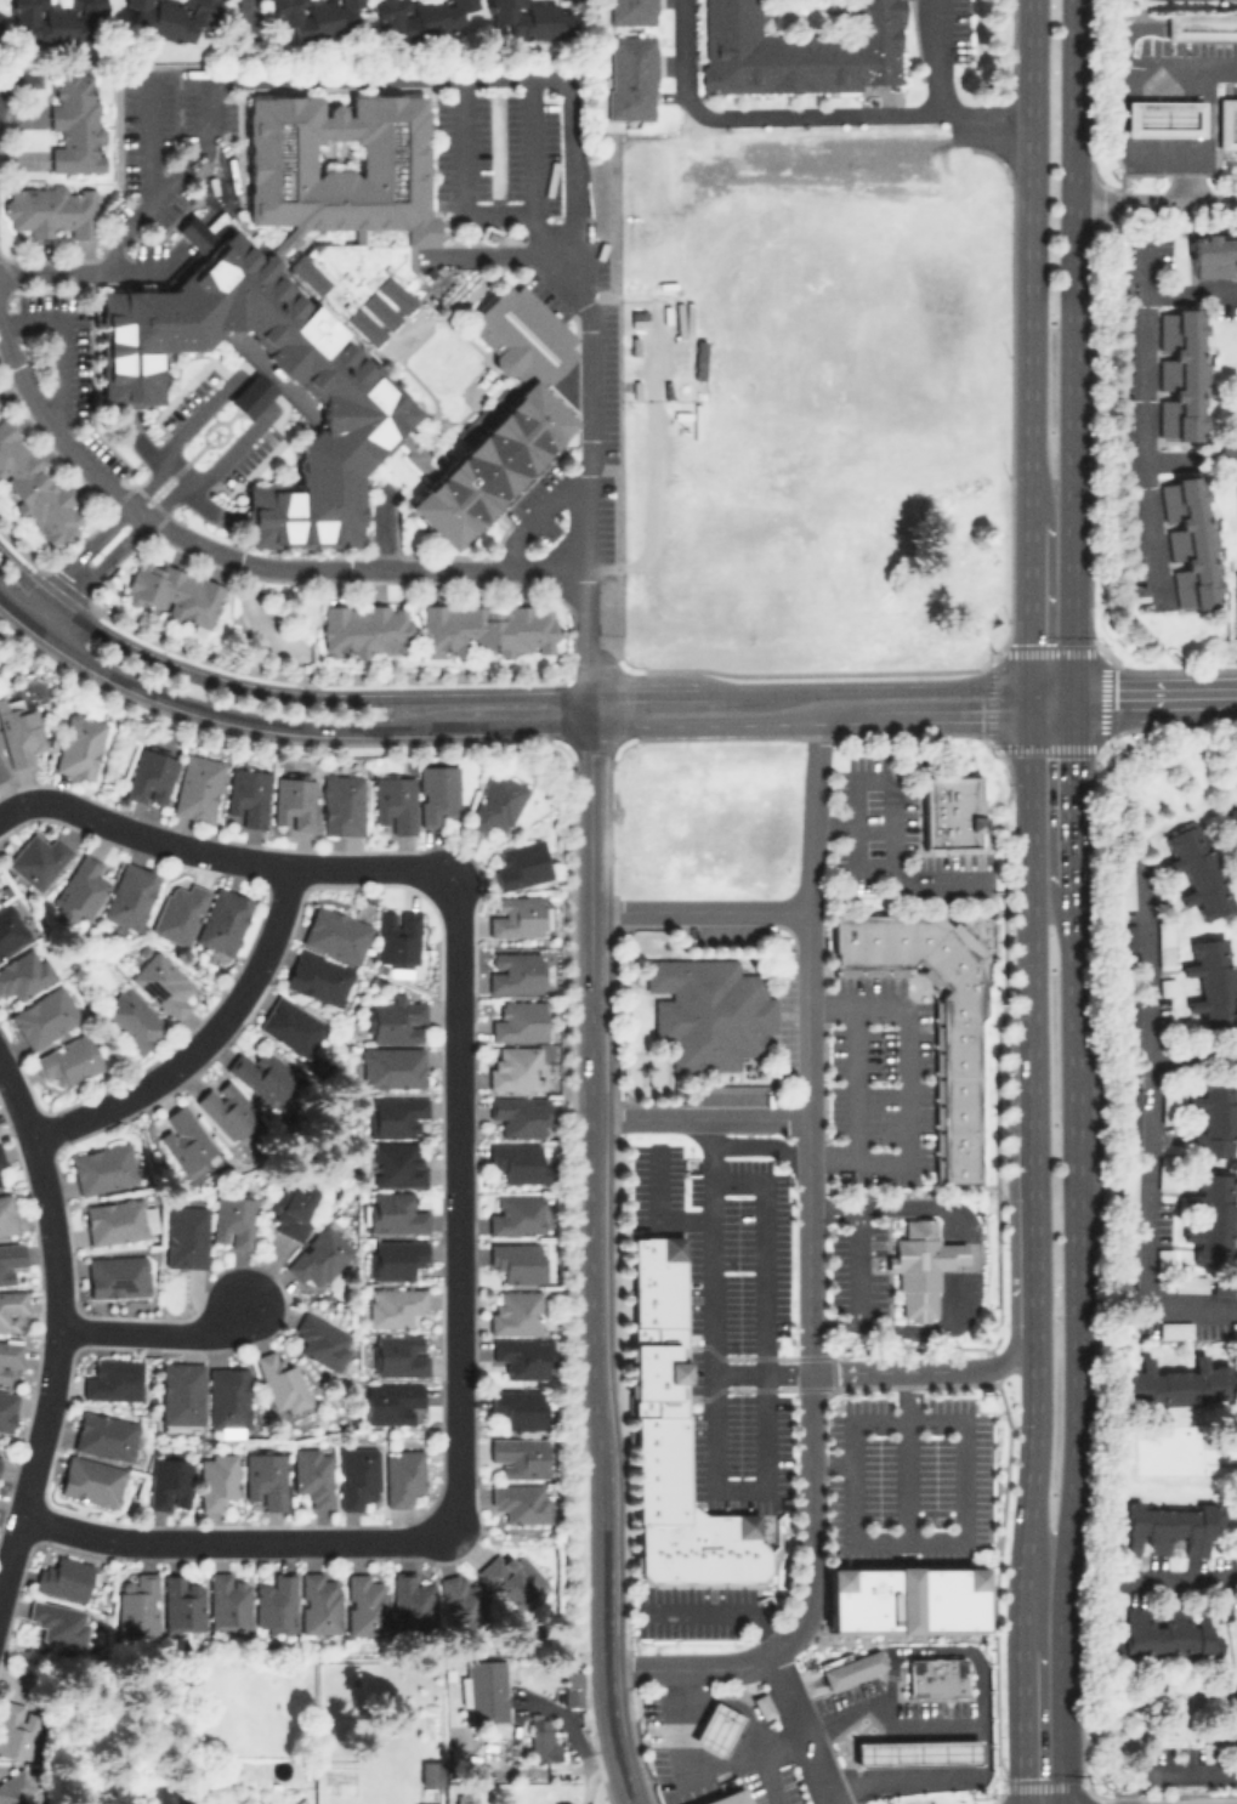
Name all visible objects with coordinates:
building: (632, 11)
building: (314, 16)
building: (419, 16)
building: (171, 17)
road: (252, 17)
building: (529, 18)
building: (58, 21)
building: (1202, 24)
building: (799, 50)
road: (1179, 69)
road: (505, 76)
building: (630, 76)
road: (812, 115)
building: (1162, 117)
gas station: (1162, 117)
building: (1226, 121)
building: (74, 124)
road: (981, 124)
road: (152, 136)
road: (1205, 137)
road: (1156, 200)
road: (148, 203)
building: (51, 209)
building: (193, 232)
building: (1213, 256)
road: (1029, 260)
road: (1190, 293)
building: (300, 303)
building: (1179, 373)
road: (251, 393)
road: (1141, 414)
building: (504, 416)
road: (1188, 459)
road: (656, 487)
building: (34, 488)
building: (1187, 541)
road: (239, 561)
building: (175, 592)
road: (56, 600)
road: (1028, 603)
building: (488, 628)
building: (365, 629)
traffic signals: (1028, 686)
road: (808, 691)
road: (1050, 693)
road: (276, 696)
road: (1028, 699)
road: (1154, 699)
traffic signals: (1073, 700)
road: (1050, 707)
road: (589, 709)
traffic signals: (1028, 713)
road: (808, 719)
road: (277, 721)
building: (19, 732)
building: (79, 744)
road: (1232, 760)
building: (1, 768)
building: (151, 776)
building: (198, 787)
road: (893, 790)
building: (1230, 792)
building: (438, 794)
building: (248, 795)
building: (294, 802)
building: (342, 802)
building: (395, 802)
building: (496, 802)
building: (949, 811)
road: (589, 817)
road: (833, 823)
building: (1230, 828)
parking lot: (893, 836)
road: (223, 856)
building: (38, 860)
building: (522, 862)
building: (1197, 869)
road: (1029, 886)
building: (1123, 887)
building: (80, 889)
building: (130, 897)
building: (0, 900)
road: (1074, 902)
road: (699, 910)
building: (178, 912)
building: (517, 915)
building: (223, 920)
building: (10, 929)
parking lot: (730, 931)
building: (335, 932)
building: (397, 936)
building: (515, 971)
building: (24, 972)
building: (319, 977)
building: (1213, 981)
building: (161, 982)
building: (709, 1010)
parking lot: (787, 1010)
building: (45, 1016)
building: (131, 1019)
building: (397, 1020)
building: (518, 1021)
building: (291, 1025)
road: (203, 1043)
road: (1192, 1055)
building: (68, 1060)
building: (392, 1066)
building: (515, 1068)
building: (262, 1074)
road: (856, 1080)
parking lot: (880, 1080)
road: (907, 1084)
parking lot: (736, 1096)
building: (959, 1099)
building: (227, 1110)
building: (395, 1114)
building: (518, 1114)
building: (1215, 1117)
road: (697, 1119)
road: (1146, 1131)
building: (183, 1139)
building: (1, 1159)
building: (518, 1162)
building: (396, 1163)
building: (103, 1168)
road: (1033, 1193)
road: (458, 1203)
building: (290, 1204)
road: (832, 1205)
road: (659, 1209)
building: (393, 1213)
building: (7, 1214)
building: (516, 1214)
building: (1213, 1218)
building: (118, 1220)
building: (233, 1220)
building: (186, 1236)
road: (711, 1246)
building: (318, 1255)
building: (395, 1256)
building: (10, 1260)
building: (518, 1261)
road: (858, 1265)
building: (920, 1266)
road: (969, 1266)
parking lot: (856, 1269)
building: (115, 1275)
road: (807, 1278)
building: (1191, 1282)
building: (393, 1305)
building: (516, 1311)
parking lot: (727, 1316)
road: (834, 1322)
building: (1233, 1328)
road: (55, 1329)
building: (1169, 1329)
road: (154, 1331)
road: (590, 1337)
building: (320, 1340)
building: (399, 1354)
building: (8, 1356)
building: (522, 1356)
road: (929, 1369)
road: (760, 1372)
building: (112, 1379)
building: (280, 1382)
building: (1175, 1384)
road: (765, 1389)
building: (181, 1392)
building: (228, 1396)
building: (391, 1400)
building: (518, 1407)
building: (6, 1408)
road: (963, 1422)
building: (104, 1435)
building: (674, 1439)
road: (906, 1454)
building: (518, 1456)
building: (312, 1475)
building: (357, 1475)
building: (402, 1476)
building: (216, 1479)
building: (265, 1479)
parking lot: (907, 1479)
building: (91, 1480)
building: (169, 1482)
road: (1031, 1487)
building: (520, 1502)
building: (1168, 1525)
road: (237, 1539)
building: (510, 1576)
building: (63, 1577)
road: (1175, 1579)
building: (906, 1599)
building: (227, 1600)
building: (461, 1600)
building: (413, 1601)
building: (181, 1602)
building: (274, 1602)
building: (318, 1602)
building: (137, 1604)
building: (365, 1604)
road: (717, 1607)
parking lot: (690, 1610)
building: (57, 1621)
building: (1165, 1633)
road: (910, 1651)
building: (849, 1667)
building: (936, 1675)
building: (572, 1687)
building: (483, 1689)
road: (889, 1690)
road: (685, 1692)
road: (738, 1694)
building: (762, 1704)
road: (730, 1711)
building: (1232, 1715)
road: (675, 1723)
road: (887, 1726)
road: (1022, 1726)
building: (715, 1728)
gas station: (715, 1728)
building: (17, 1729)
road: (798, 1729)
road: (716, 1732)
building: (541, 1737)
road: (770, 1737)
parking lot: (654, 1742)
road: (700, 1749)
building: (915, 1752)
gas station: (915, 1752)
road: (949, 1752)
road: (925, 1753)
road: (898, 1754)
road: (851, 1755)
road: (873, 1755)
road: (731, 1760)
road: (1192, 1770)
building: (430, 1771)
road: (592, 1776)
road: (766, 1779)
road: (927, 1780)
road: (622, 1782)
parking lot: (771, 1787)
building: (17, 1789)
road: (664, 1796)
building: (466, 1798)
building: (727, 1798)
building: (134, 1800)

